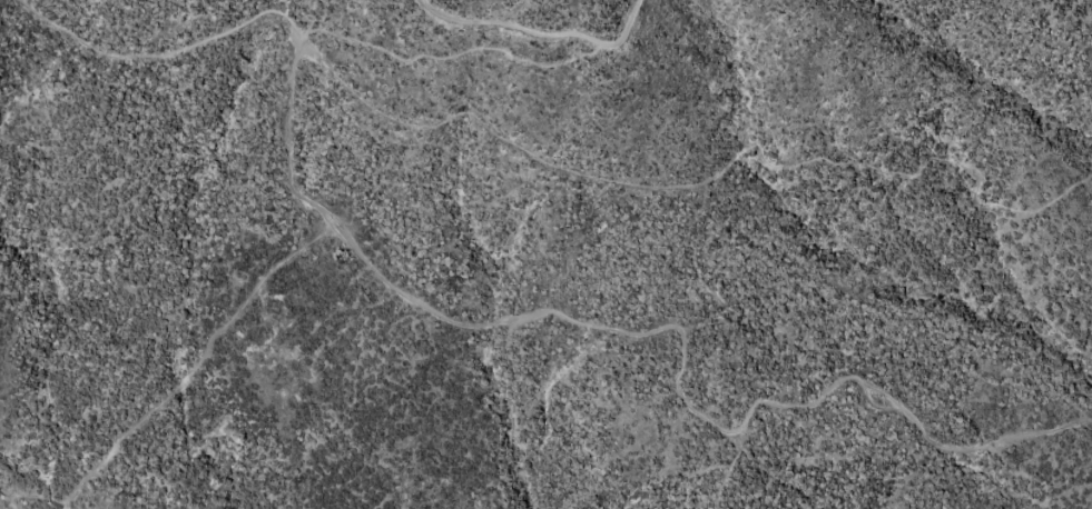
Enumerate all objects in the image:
road: (540, 36)
road: (513, 318)

